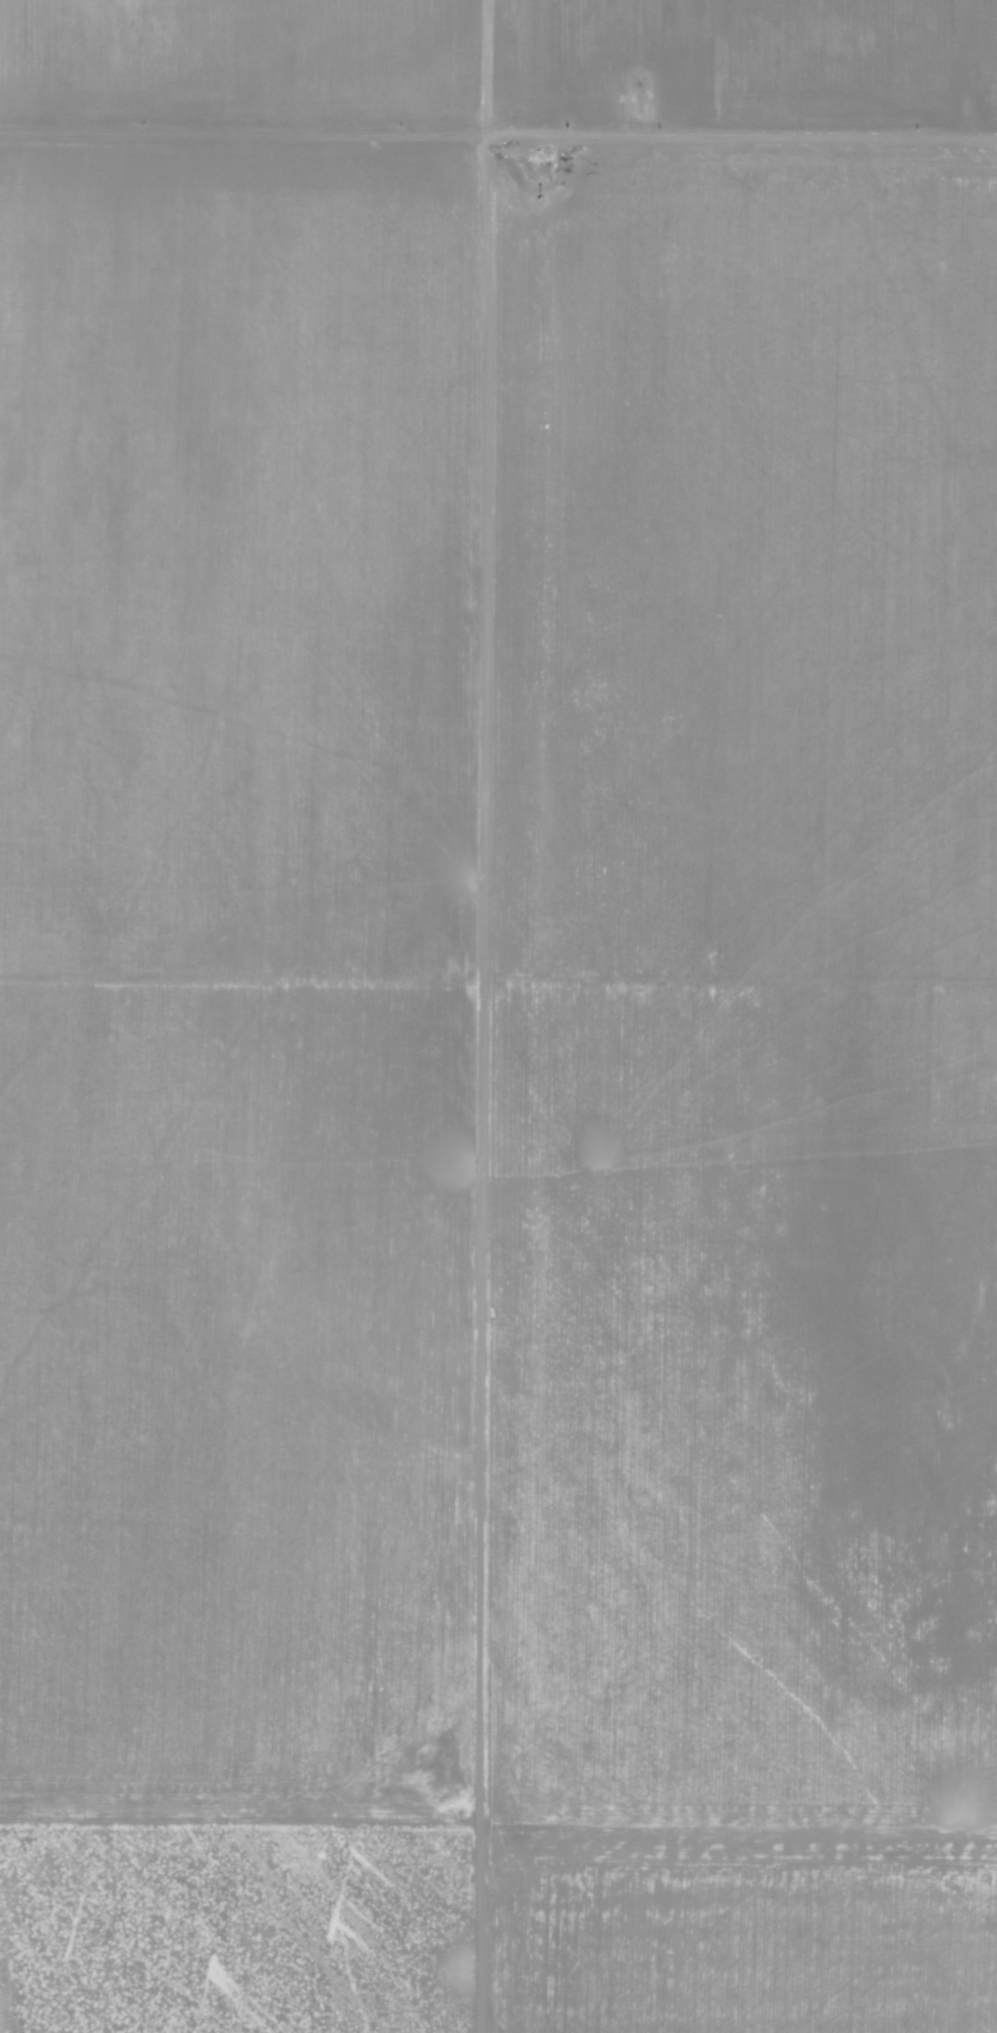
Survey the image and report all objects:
road: (574, 75)
road: (498, 150)
road: (498, 1850)
road: (563, 1942)

